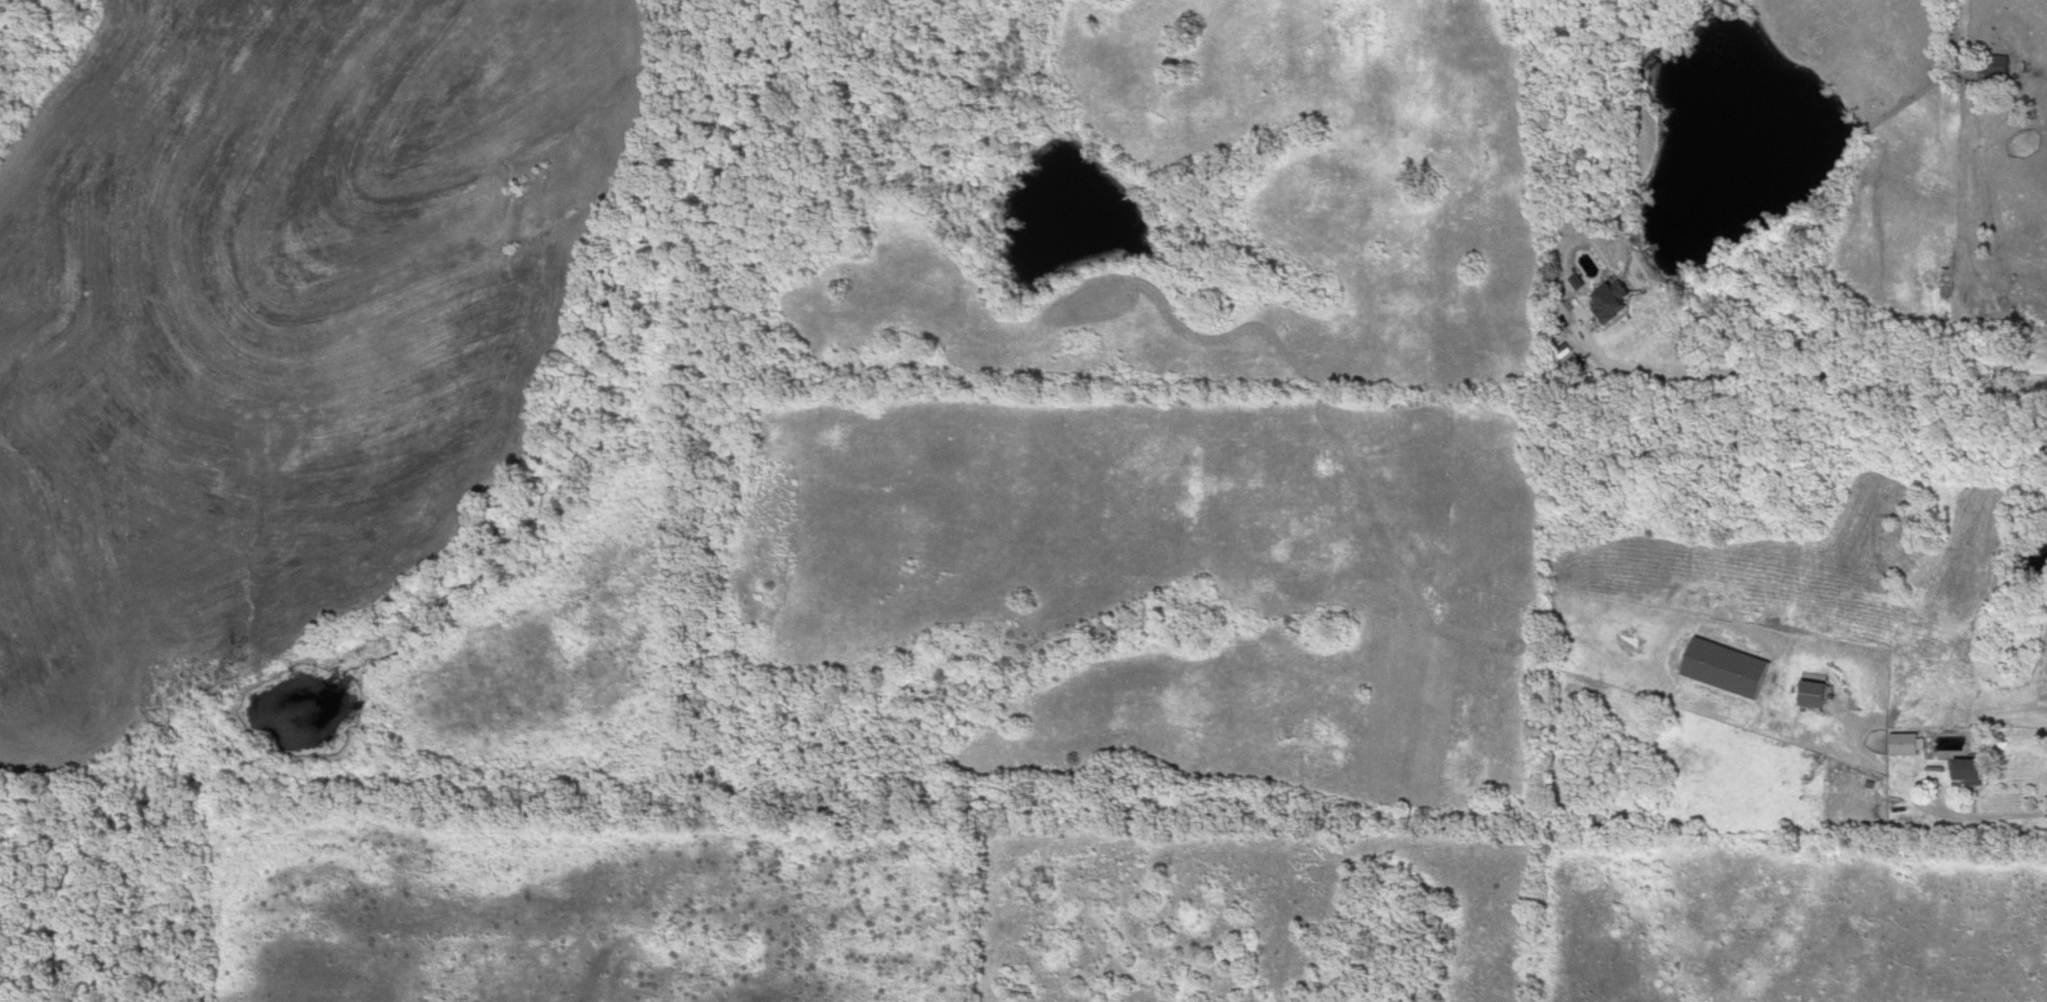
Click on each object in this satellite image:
building: (1607, 301)
road: (1795, 376)
building: (1723, 668)
building: (1810, 695)
building: (1967, 771)
road: (2000, 816)

